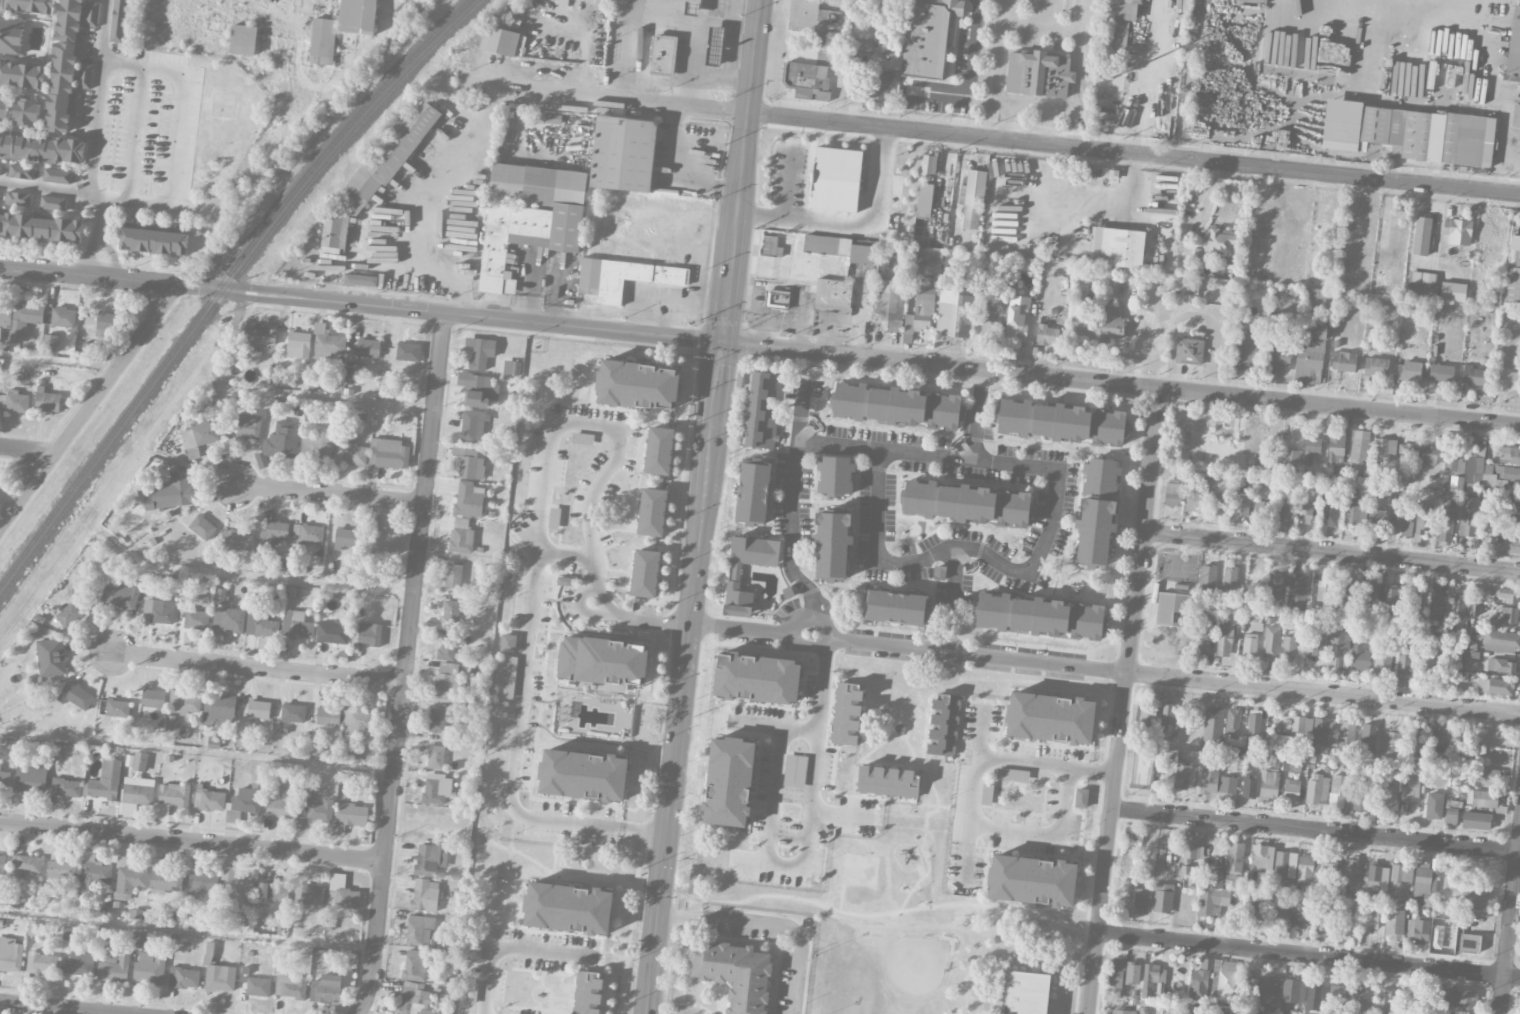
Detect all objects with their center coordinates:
building: (1, 4)
road: (1412, 4)
road: (1446, 4)
building: (30, 6)
building: (91, 14)
building: (358, 17)
building: (69, 20)
building: (812, 20)
building: (119, 21)
building: (1119, 22)
road: (1046, 26)
building: (11, 35)
building: (929, 39)
building: (243, 40)
building: (499, 41)
building: (1514, 41)
building: (714, 45)
building: (864, 46)
road: (627, 49)
building: (661, 53)
road: (1486, 67)
road: (997, 72)
building: (1038, 74)
building: (22, 75)
building: (806, 75)
building: (84, 76)
road: (1146, 76)
road: (1077, 85)
building: (61, 87)
building: (880, 88)
building: (813, 93)
building: (3, 107)
road: (98, 110)
building: (25, 113)
building: (1516, 116)
building: (546, 117)
building: (502, 125)
building: (1408, 131)
road: (135, 134)
road: (176, 137)
road: (1011, 139)
building: (41, 148)
building: (388, 156)
building: (474, 159)
road: (1500, 163)
building: (0, 164)
building: (929, 165)
building: (21, 172)
building: (57, 176)
building: (835, 179)
road: (45, 188)
building: (561, 195)
building: (972, 198)
building: (17, 199)
building: (924, 200)
building: (52, 203)
road: (849, 223)
building: (41, 227)
building: (335, 230)
building: (1458, 231)
building: (1421, 235)
building: (153, 241)
building: (1221, 242)
building: (820, 244)
building: (770, 246)
road: (97, 247)
building: (1116, 247)
building: (856, 251)
road: (443, 255)
building: (624, 277)
building: (1512, 277)
building: (360, 280)
railway: (222, 282)
building: (1421, 284)
railway: (227, 287)
building: (1453, 291)
building: (1313, 298)
building: (776, 299)
building: (891, 304)
building: (921, 310)
building: (5, 314)
building: (954, 314)
road: (1197, 315)
building: (63, 317)
building: (1018, 317)
building: (24, 319)
building: (1102, 323)
building: (108, 325)
building: (989, 330)
building: (1317, 330)
building: (1048, 331)
building: (261, 336)
traffic signals: (721, 341)
building: (50, 344)
building: (326, 344)
building: (298, 345)
road: (760, 345)
building: (368, 348)
building: (1247, 349)
building: (1189, 350)
building: (88, 351)
building: (1309, 351)
building: (408, 352)
building: (480, 352)
building: (1278, 355)
road: (57, 361)
building: (1343, 361)
building: (1376, 366)
building: (512, 367)
building: (1408, 370)
building: (353, 372)
building: (1441, 373)
building: (1474, 375)
building: (1506, 380)
building: (639, 384)
building: (475, 388)
road: (314, 397)
building: (14, 401)
building: (47, 401)
road: (89, 405)
building: (897, 405)
building: (763, 409)
road: (977, 414)
building: (1061, 421)
building: (473, 425)
building: (248, 427)
building: (199, 434)
building: (582, 438)
building: (280, 443)
building: (316, 447)
building: (1336, 447)
road: (26, 448)
building: (1311, 448)
building: (658, 449)
building: (1383, 450)
building: (1359, 451)
building: (351, 453)
building: (388, 454)
building: (1406, 454)
building: (1428, 454)
building: (1509, 455)
building: (1290, 461)
road: (131, 473)
road: (604, 474)
building: (835, 474)
building: (1473, 474)
building: (1499, 475)
building: (753, 491)
building: (172, 492)
road: (328, 493)
building: (1173, 494)
building: (1196, 495)
building: (469, 499)
building: (966, 501)
building: (1216, 503)
building: (1241, 504)
road: (702, 506)
road: (791, 507)
building: (1263, 509)
building: (1284, 509)
building: (1304, 510)
building: (653, 511)
building: (1096, 511)
building: (1330, 511)
building: (1353, 511)
building: (1375, 514)
building: (1402, 516)
building: (1468, 516)
building: (553, 517)
building: (1424, 517)
building: (1516, 521)
building: (1445, 526)
building: (202, 527)
road: (1048, 529)
building: (276, 531)
building: (308, 534)
building: (460, 535)
building: (346, 538)
building: (381, 539)
building: (236, 541)
building: (831, 546)
building: (1514, 546)
road: (1332, 552)
road: (567, 555)
building: (646, 573)
building: (734, 573)
road: (247, 575)
building: (453, 575)
road: (954, 577)
building: (1207, 578)
building: (1230, 581)
building: (1275, 584)
road: (594, 590)
building: (1324, 590)
building: (1297, 591)
building: (1345, 592)
building: (122, 595)
building: (1509, 595)
building: (1367, 596)
building: (1390, 599)
building: (1414, 600)
building: (1438, 601)
building: (897, 606)
building: (1457, 606)
building: (1173, 609)
building: (158, 612)
building: (450, 612)
building: (1507, 614)
building: (1040, 615)
building: (69, 616)
building: (196, 620)
building: (228, 620)
road: (645, 620)
building: (297, 625)
building: (261, 626)
road: (754, 627)
building: (333, 633)
building: (369, 634)
building: (1201, 634)
building: (1224, 638)
building: (1501, 640)
building: (507, 643)
building: (1271, 643)
building: (1249, 645)
building: (1317, 646)
building: (446, 647)
building: (1338, 647)
building: (1288, 648)
road: (973, 652)
building: (1406, 656)
building: (51, 657)
building: (1359, 657)
building: (604, 660)
building: (1382, 660)
road: (405, 665)
building: (1502, 665)
road: (258, 668)
building: (509, 677)
building: (757, 677)
building: (447, 685)
building: (1495, 686)
road: (523, 692)
road: (1324, 694)
building: (75, 696)
building: (153, 699)
road: (1124, 701)
building: (185, 702)
building: (114, 708)
building: (219, 709)
building: (258, 709)
building: (847, 711)
building: (293, 713)
building: (328, 716)
building: (1148, 716)
building: (1051, 717)
building: (1168, 720)
building: (437, 721)
building: (943, 722)
building: (1232, 723)
building: (356, 724)
building: (1213, 724)
road: (775, 726)
building: (1301, 726)
building: (1254, 728)
building: (1345, 733)
building: (1368, 736)
building: (1415, 740)
building: (1280, 741)
building: (1436, 741)
building: (1392, 744)
road: (197, 748)
road: (816, 751)
building: (435, 757)
building: (139, 762)
road: (1047, 764)
building: (1142, 767)
building: (795, 770)
building: (584, 775)
building: (1183, 775)
building: (1490, 776)
building: (1206, 779)
building: (4, 780)
building: (30, 780)
building: (106, 781)
building: (729, 781)
building: (889, 782)
building: (1227, 785)
building: (1269, 785)
building: (1249, 787)
building: (66, 788)
building: (437, 788)
building: (1317, 789)
building: (1411, 789)
building: (1291, 790)
building: (1337, 791)
building: (136, 794)
building: (987, 794)
road: (775, 795)
road: (972, 795)
building: (1361, 795)
building: (1386, 795)
building: (1081, 797)
building: (171, 798)
building: (1485, 798)
building: (210, 800)
building: (247, 801)
building: (281, 805)
building: (1434, 805)
building: (319, 811)
road: (840, 814)
building: (350, 816)
building: (1451, 816)
building: (1476, 820)
road: (1316, 830)
road: (1050, 836)
road: (192, 841)
building: (1189, 851)
building: (429, 860)
building: (1160, 860)
building: (1234, 861)
building: (1257, 861)
road: (766, 862)
building: (1329, 864)
building: (25, 865)
building: (2, 867)
building: (1284, 867)
building: (1306, 869)
building: (61, 871)
building: (95, 871)
building: (1350, 871)
building: (1376, 876)
building: (1034, 880)
building: (1400, 880)
building: (129, 881)
building: (165, 883)
building: (202, 883)
building: (1426, 884)
building: (236, 891)
building: (273, 892)
building: (1210, 894)
building: (1472, 894)
building: (425, 895)
building: (312, 896)
building: (1140, 897)
building: (1162, 897)
building: (343, 898)
building: (569, 908)
building: (1255, 908)
building: (1279, 913)
building: (1299, 915)
road: (685, 919)
building: (1322, 920)
building: (1370, 920)
building: (1394, 923)
building: (34, 928)
building: (418, 929)
building: (1418, 930)
road: (187, 931)
road: (796, 931)
road: (1510, 932)
building: (1436, 937)
building: (140, 941)
building: (1466, 941)
road: (508, 946)
road: (1309, 953)
building: (10, 955)
building: (41, 963)
building: (79, 964)
building: (415, 965)
building: (114, 969)
building: (149, 969)
park: (899, 969)
building: (1132, 972)
building: (735, 973)
building: (1117, 976)
building: (184, 978)
building: (220, 978)
building: (1222, 979)
building: (1200, 981)
building: (1246, 985)
building: (258, 987)
building: (291, 987)
building: (327, 989)
building: (1268, 989)
building: (1293, 990)
building: (587, 992)
building: (1025, 993)
building: (1336, 993)
building: (1314, 994)
building: (1460, 997)
building: (414, 999)
building: (1361, 1003)
building: (1384, 1003)
road: (63, 1007)
building: (1196, 1009)
building: (1143, 1010)
building: (1123, 1011)
building: (1462, 1012)
building: (1215, 1013)
building: (1285, 1013)

